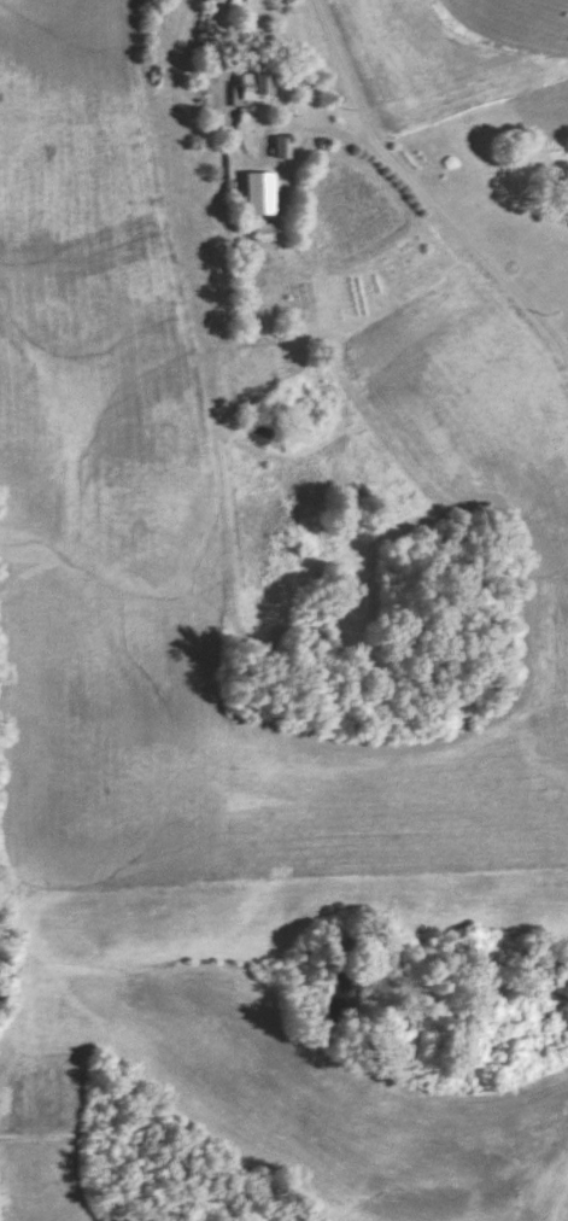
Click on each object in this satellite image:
building: (257, 86)
building: (282, 147)
building: (259, 193)
road: (418, 195)
building: (265, 232)

